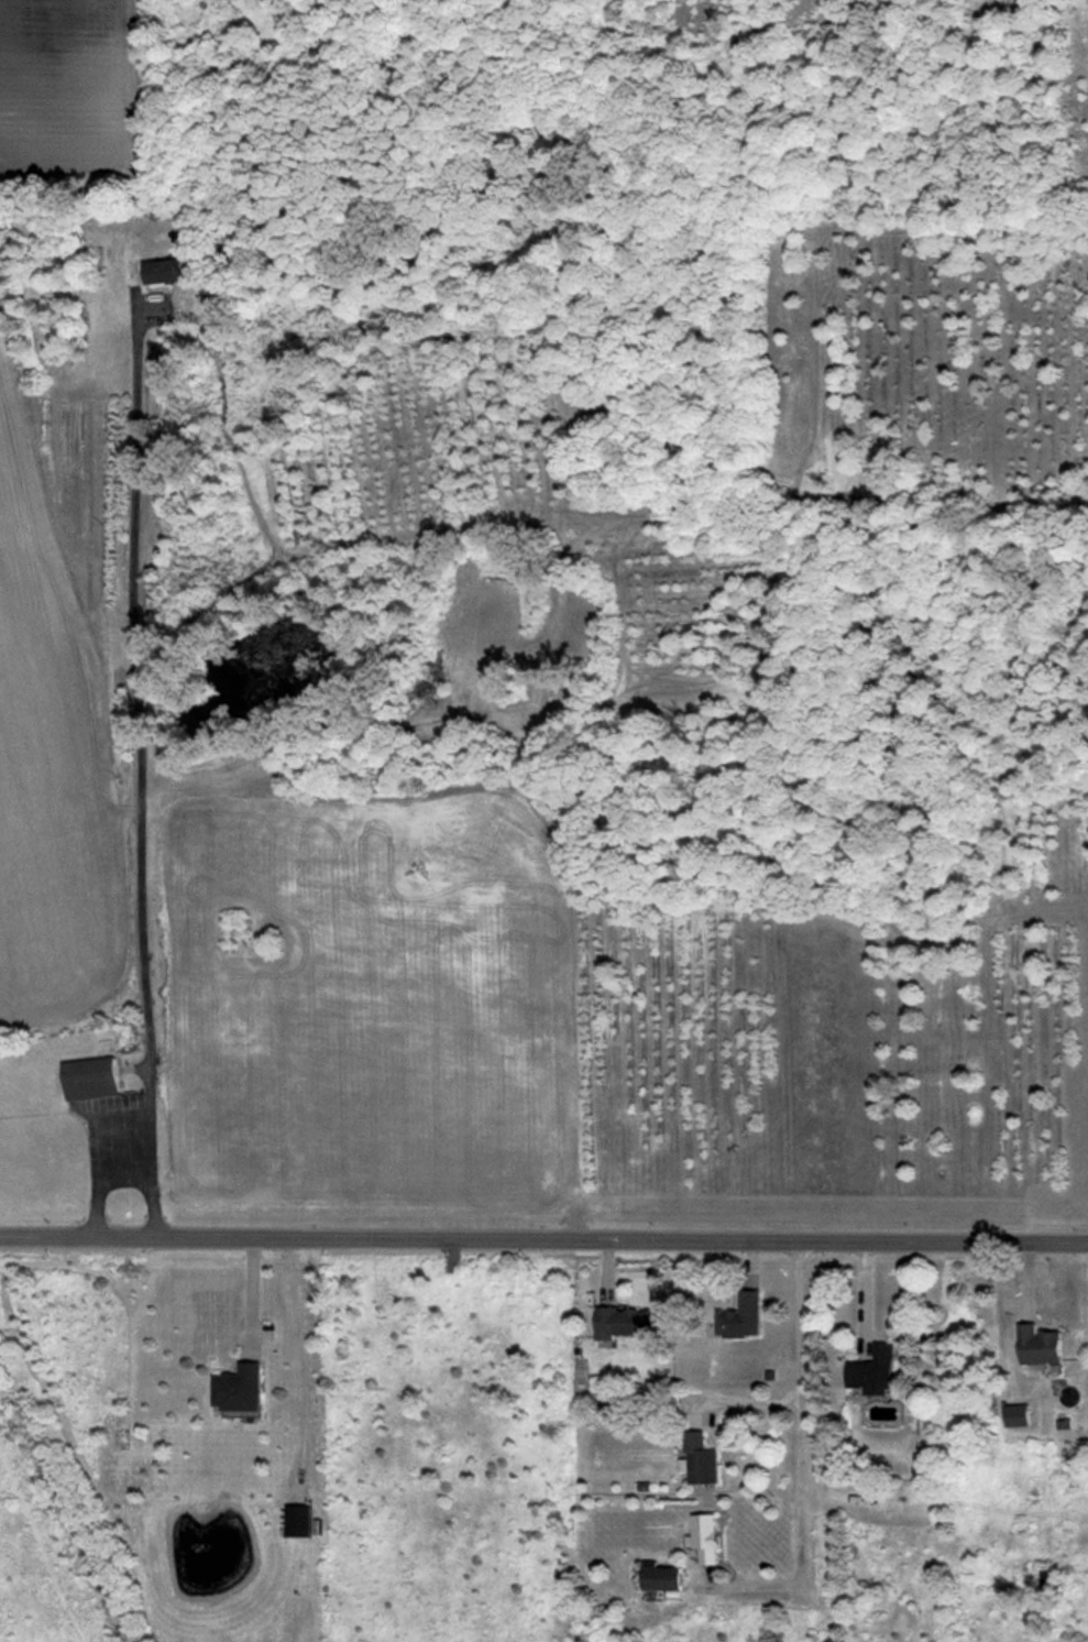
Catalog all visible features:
building: (164, 271)
road: (140, 767)
building: (90, 1079)
road: (97, 1174)
road: (543, 1236)
road: (253, 1295)
road: (867, 1295)
building: (740, 1316)
building: (626, 1322)
building: (1040, 1345)
building: (873, 1371)
building: (240, 1388)
road: (799, 1410)
building: (1018, 1415)
building: (699, 1459)
building: (298, 1521)
building: (705, 1537)
building: (660, 1577)

